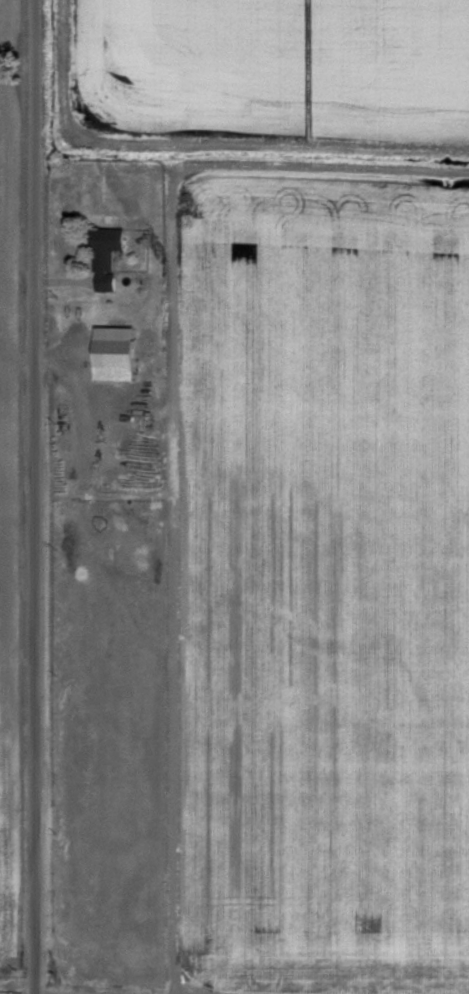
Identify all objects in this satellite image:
building: (107, 257)
building: (116, 354)
road: (36, 496)
road: (19, 986)

